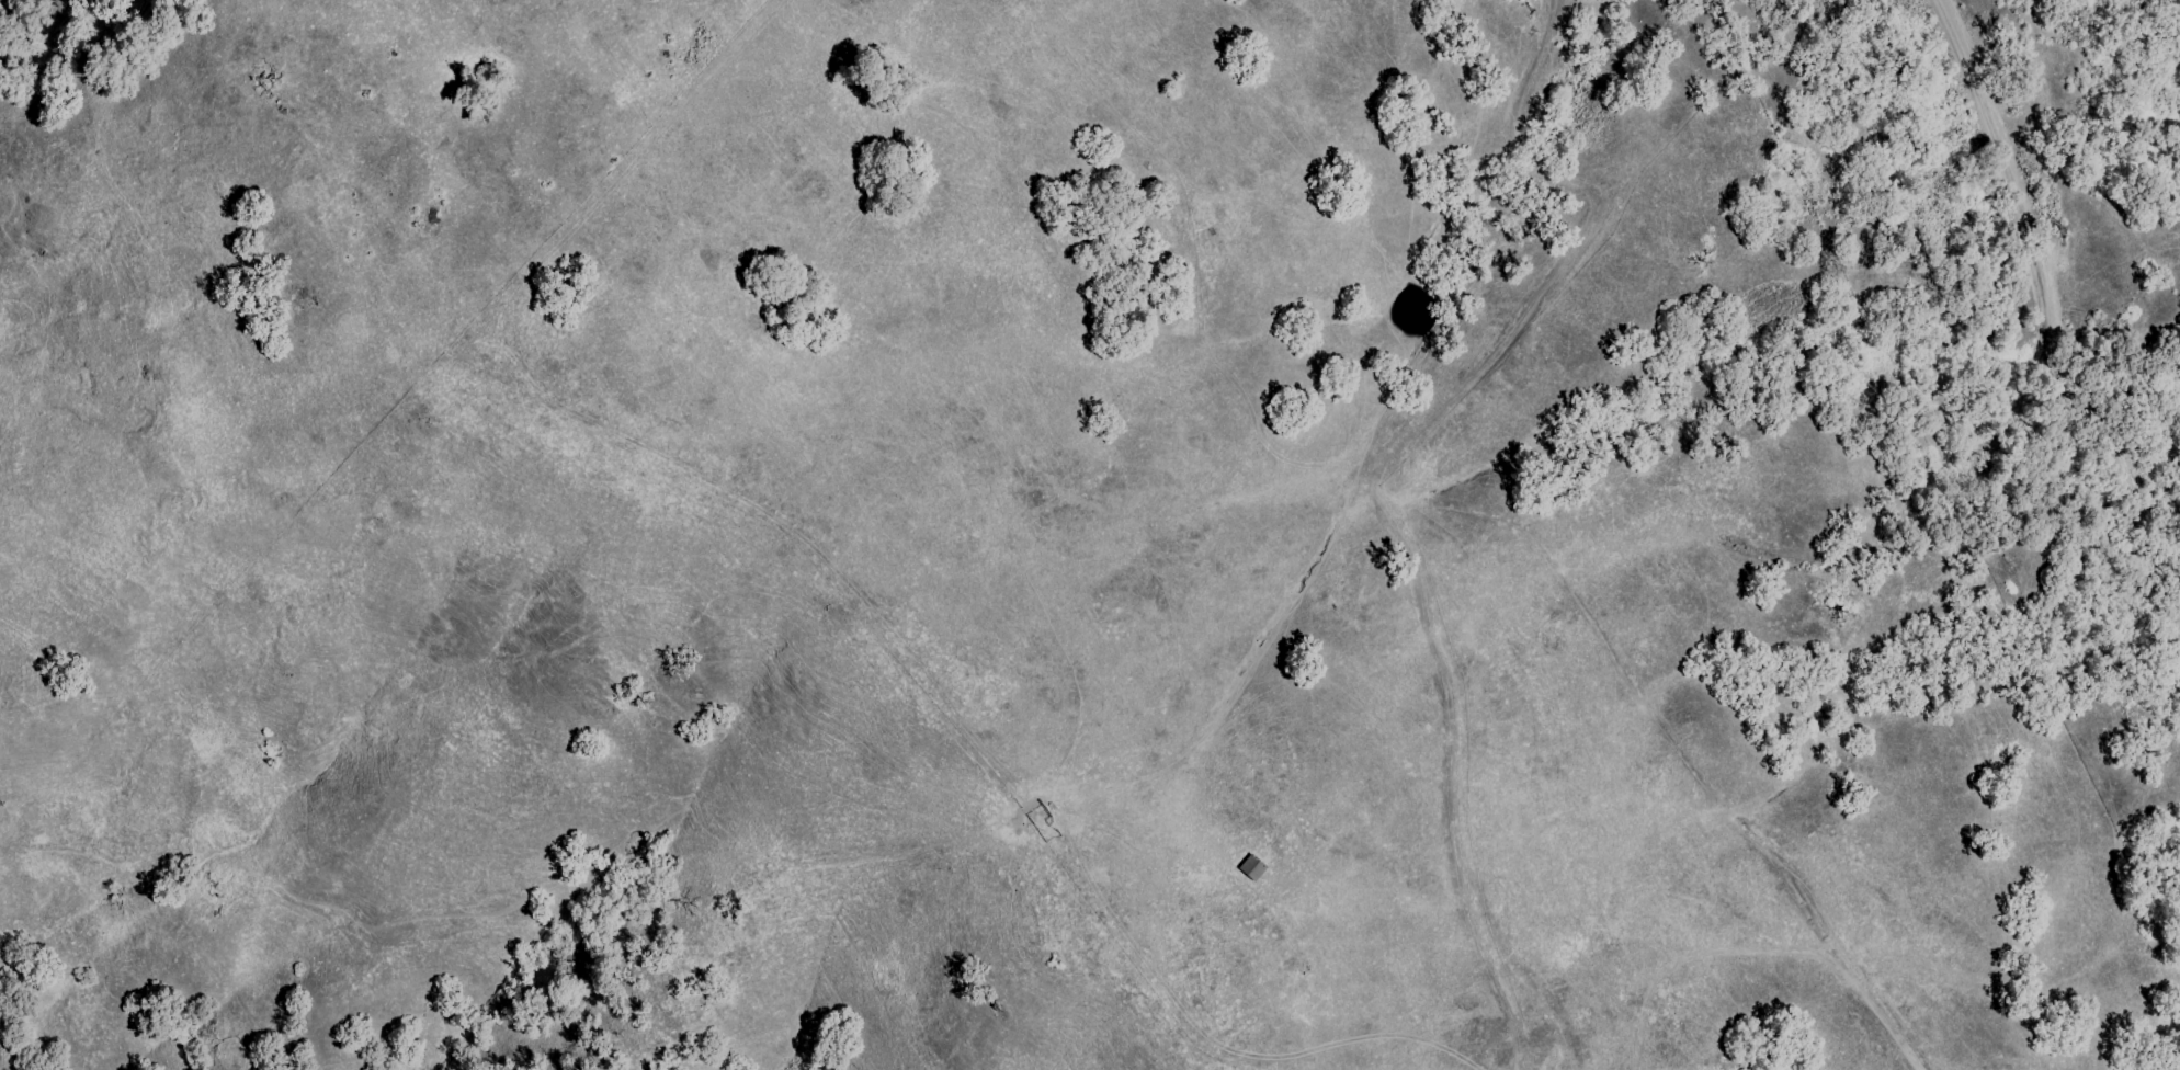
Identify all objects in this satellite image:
road: (2041, 289)
building: (1254, 865)

